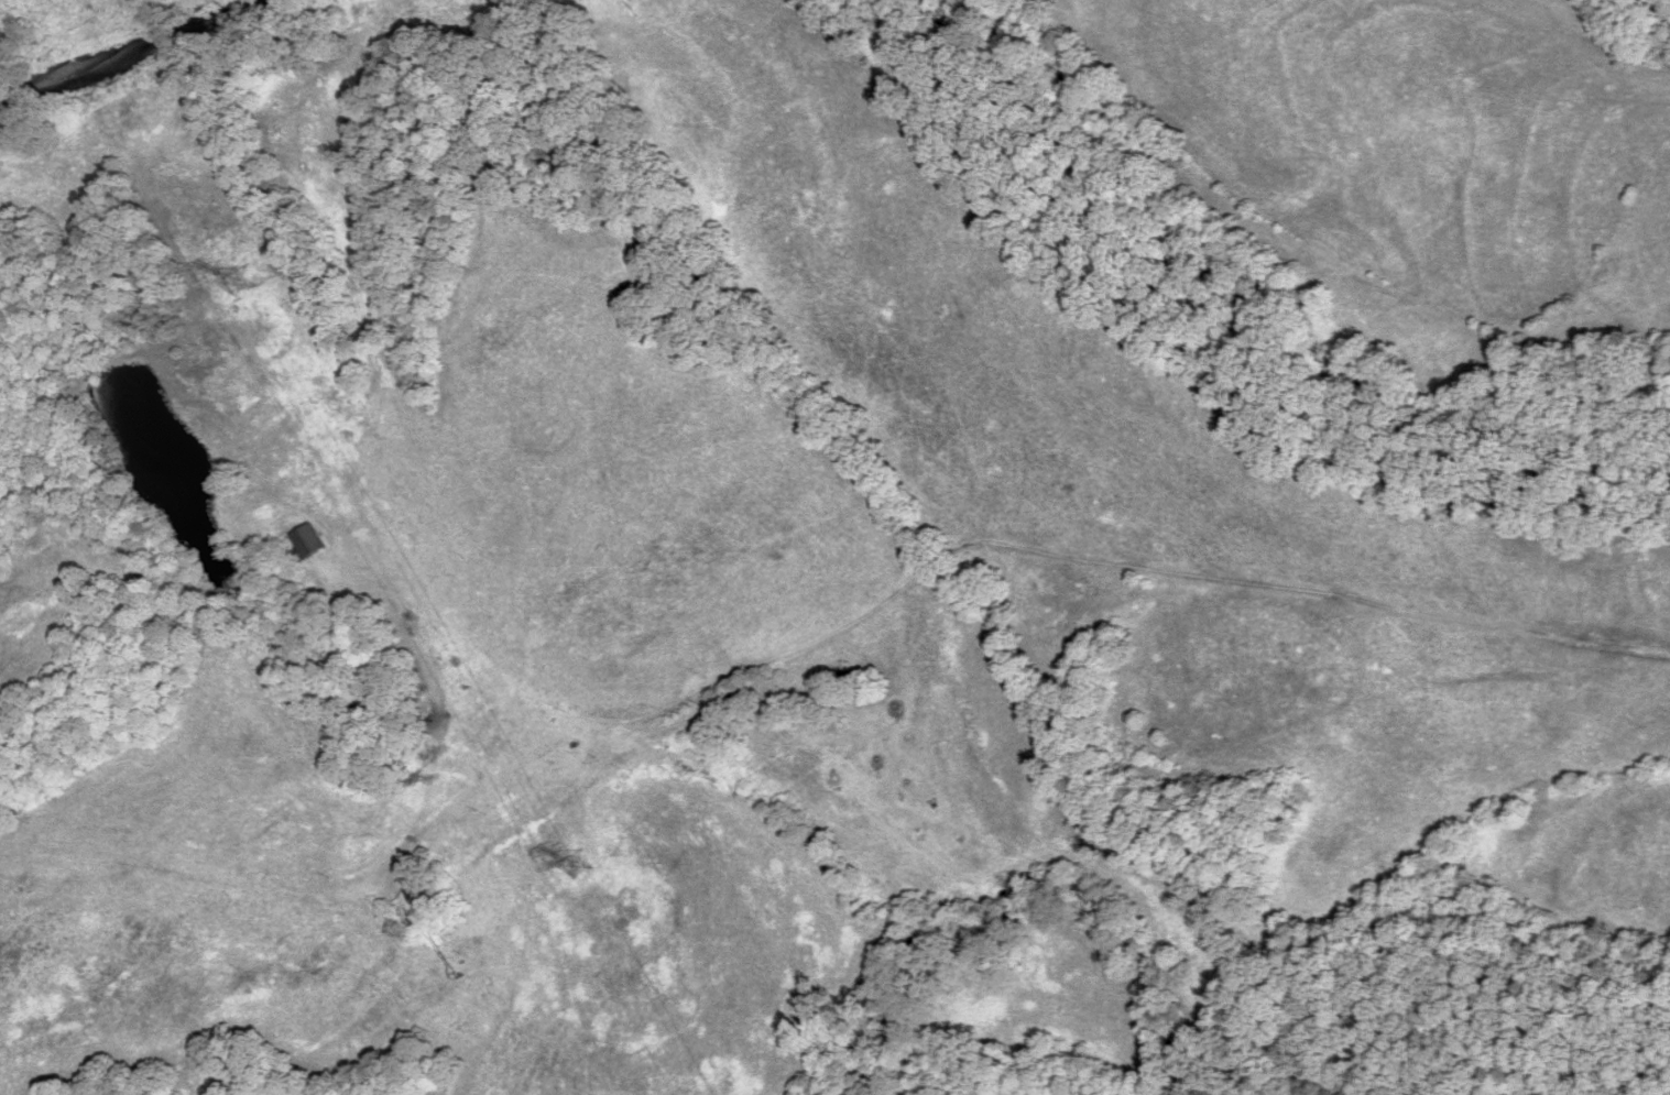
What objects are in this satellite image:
power tower: (242, 283)
building: (308, 545)
road: (817, 649)
building: (845, 679)
power tower: (581, 869)
building: (421, 895)

